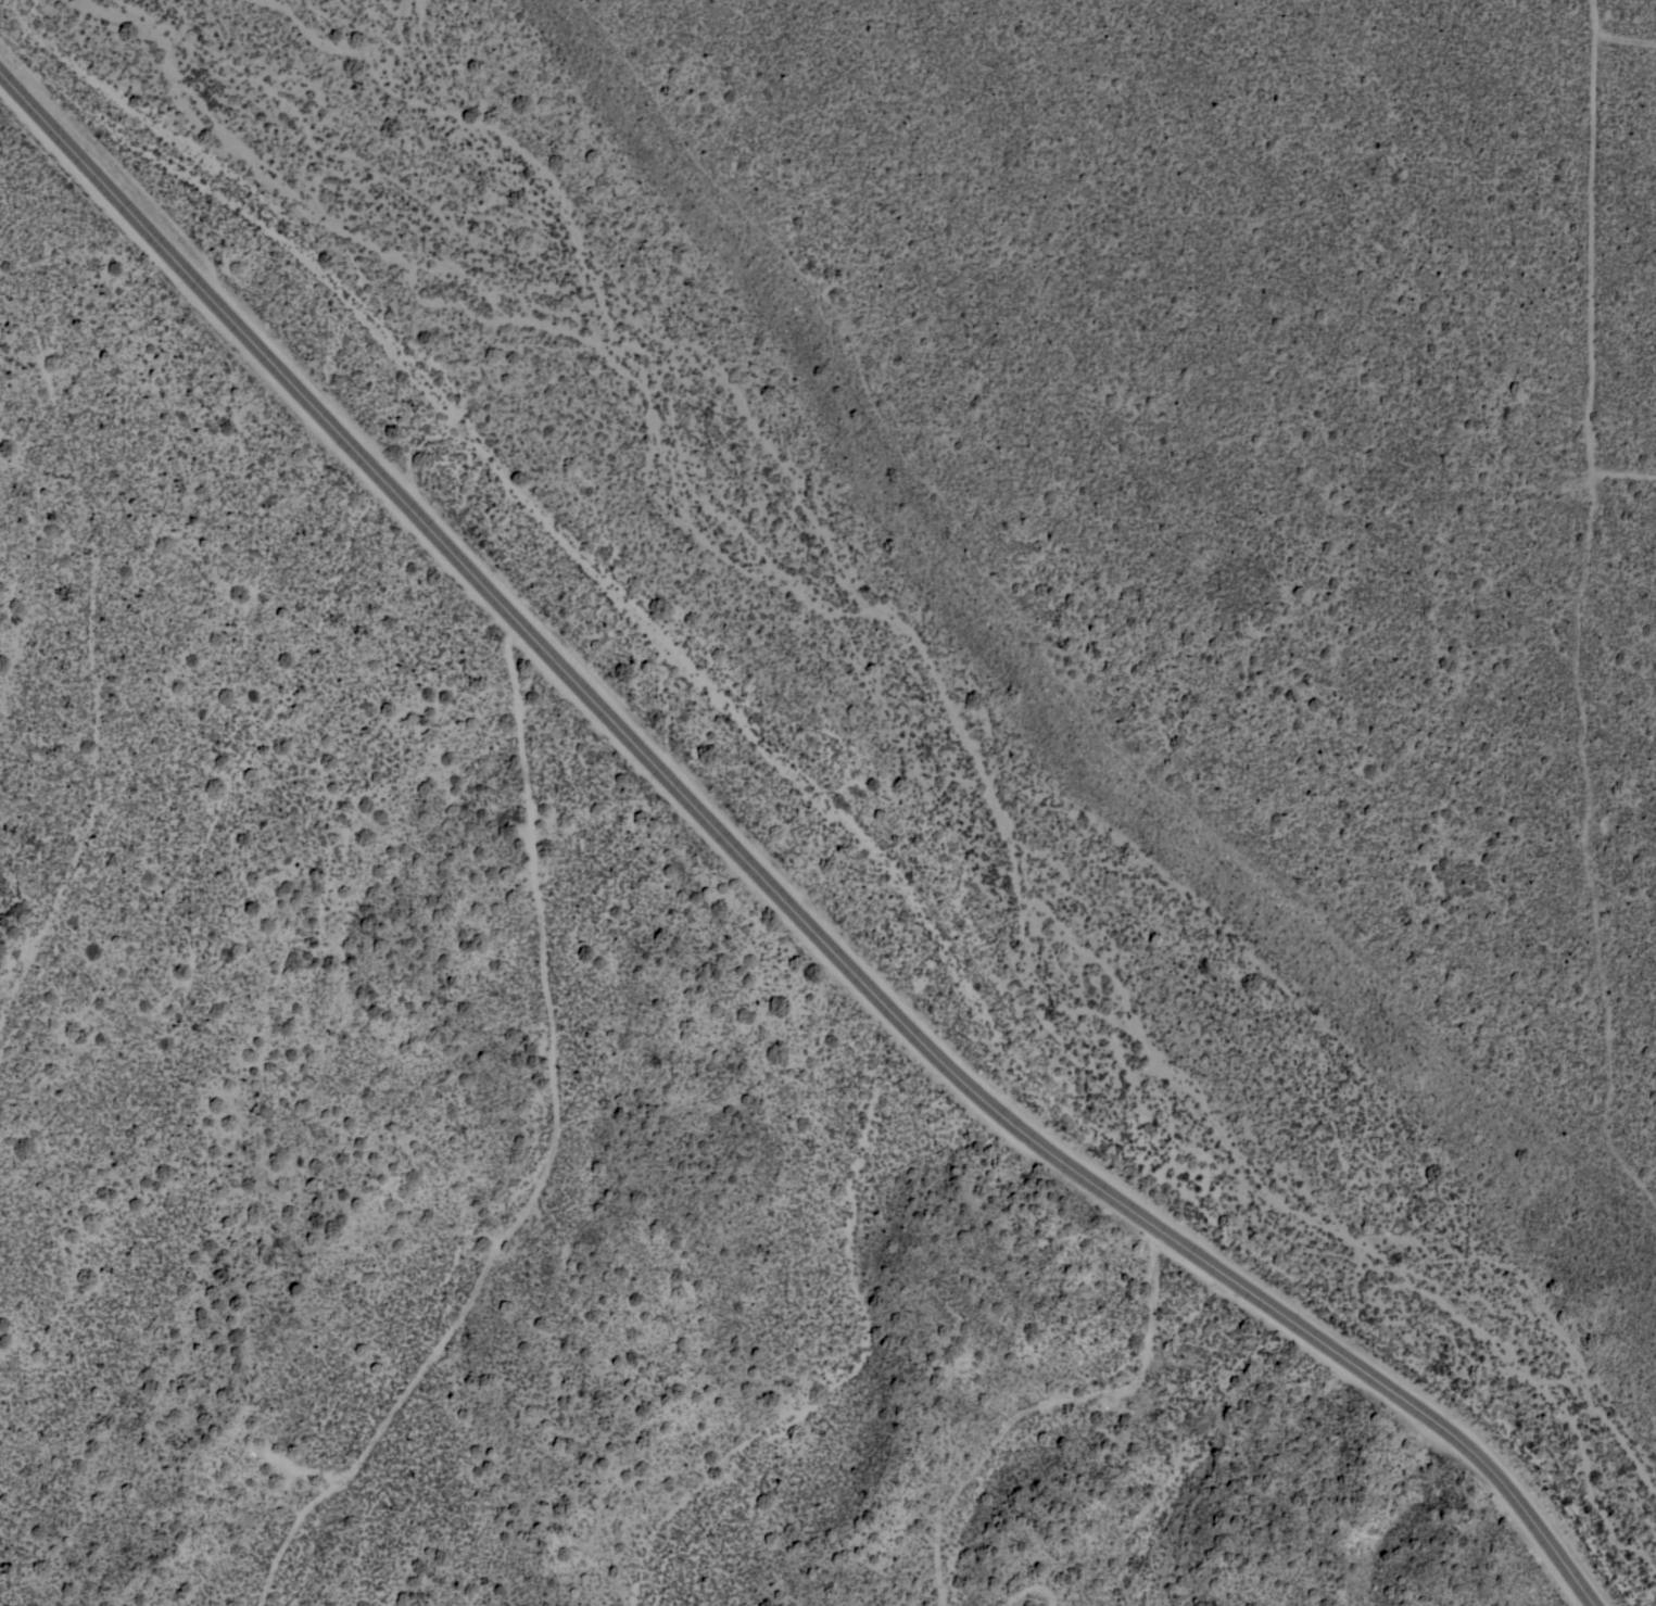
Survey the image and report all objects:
road: (1595, 237)
road: (1627, 473)
road: (763, 880)

